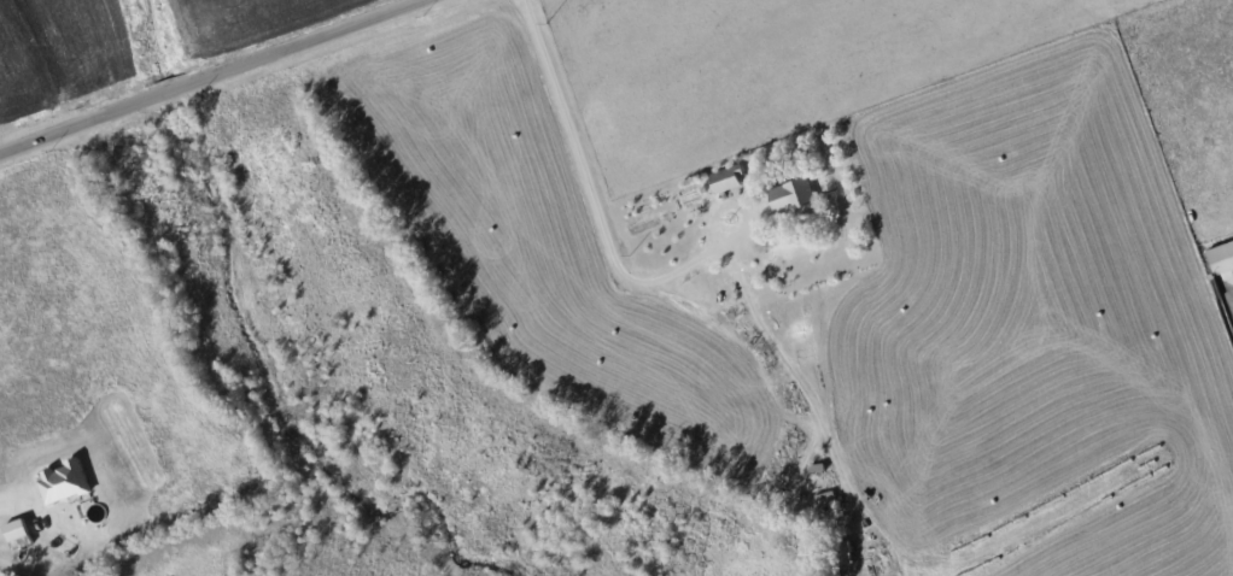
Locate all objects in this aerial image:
road: (210, 76)
building: (725, 178)
building: (790, 196)
road: (596, 204)
building: (1222, 260)
building: (64, 481)
building: (16, 530)

